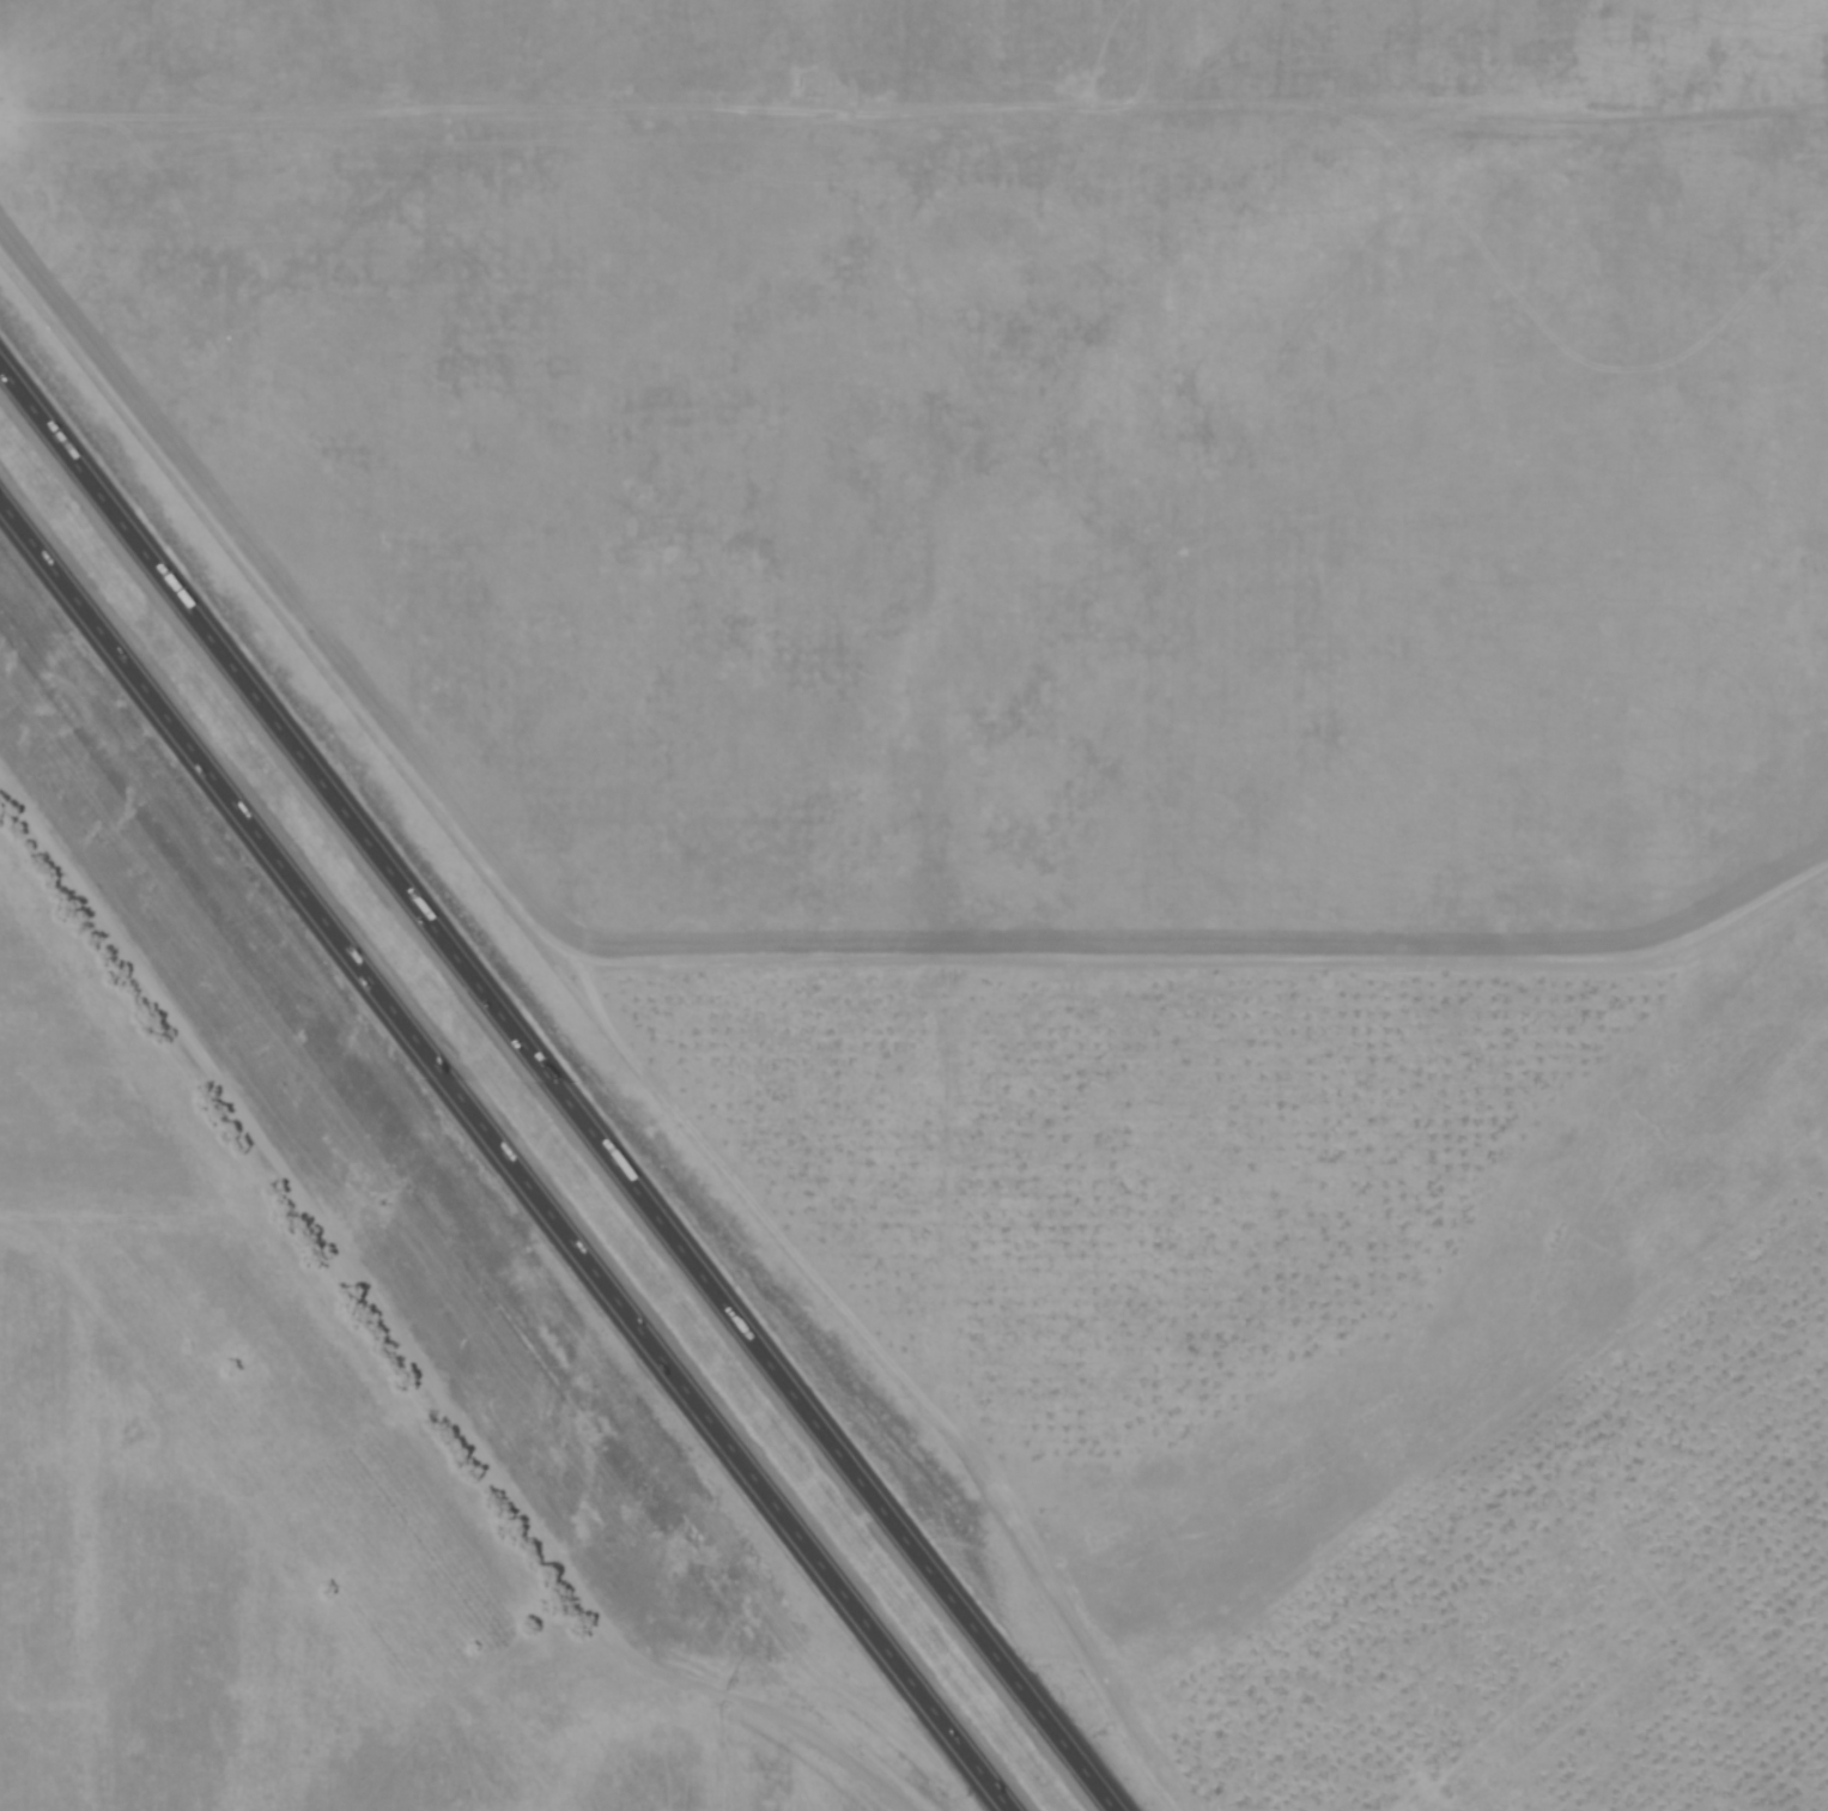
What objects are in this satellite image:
road: (913, 115)
crop: (1103, 756)
road: (555, 1092)
road: (503, 1159)
crop: (275, 1362)

